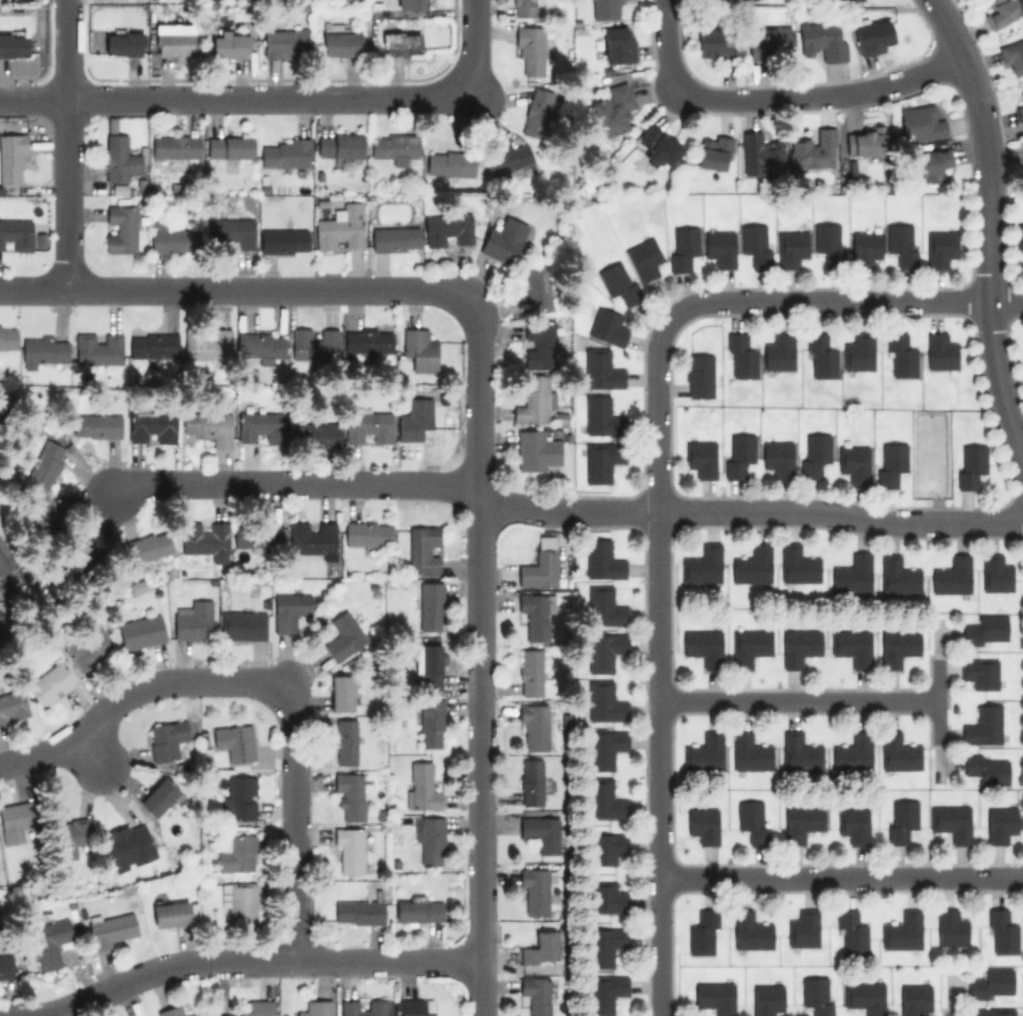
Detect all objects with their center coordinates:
building: (119, 0)
building: (414, 4)
building: (522, 8)
building: (605, 8)
building: (1000, 12)
building: (873, 36)
building: (822, 39)
building: (174, 40)
building: (400, 41)
building: (285, 42)
building: (122, 43)
building: (230, 43)
building: (341, 43)
building: (713, 43)
building: (618, 44)
road: (669, 44)
building: (771, 44)
building: (14, 45)
road: (474, 45)
building: (530, 48)
road: (65, 50)
building: (1012, 56)
road: (823, 95)
building: (1022, 96)
road: (229, 99)
building: (614, 109)
building: (537, 112)
building: (1019, 112)
building: (921, 122)
building: (865, 141)
building: (339, 144)
building: (175, 146)
building: (229, 146)
building: (658, 146)
building: (394, 147)
building: (813, 149)
building: (713, 152)
building: (284, 154)
building: (760, 154)
building: (12, 158)
building: (119, 158)
building: (508, 159)
building: (1022, 162)
building: (450, 163)
building: (931, 164)
road: (65, 195)
building: (340, 228)
building: (121, 229)
building: (447, 229)
building: (232, 231)
road: (986, 231)
building: (17, 233)
building: (169, 236)
building: (503, 237)
building: (395, 238)
building: (1019, 239)
building: (283, 240)
building: (828, 243)
building: (755, 244)
building: (901, 244)
building: (682, 247)
building: (720, 247)
building: (791, 247)
building: (864, 248)
building: (939, 248)
building: (643, 257)
building: (619, 282)
building: (536, 288)
road: (231, 290)
road: (846, 299)
building: (607, 326)
building: (8, 337)
building: (367, 341)
building: (313, 343)
building: (261, 344)
building: (538, 344)
building: (151, 345)
building: (207, 345)
building: (98, 349)
building: (419, 349)
building: (43, 351)
building: (858, 351)
building: (939, 351)
building: (778, 352)
building: (900, 355)
building: (740, 356)
building: (820, 356)
building: (600, 368)
building: (699, 375)
building: (532, 400)
building: (602, 416)
building: (416, 417)
building: (146, 424)
building: (98, 425)
building: (260, 425)
building: (367, 425)
building: (217, 429)
building: (317, 434)
building: (536, 450)
building: (738, 454)
building: (813, 454)
building: (700, 458)
building: (778, 458)
building: (601, 460)
building: (853, 462)
building: (889, 462)
building: (46, 464)
building: (969, 465)
road: (295, 485)
road: (524, 502)
building: (41, 507)
road: (795, 511)
building: (50, 519)
building: (368, 533)
building: (257, 534)
building: (313, 538)
building: (206, 539)
building: (545, 541)
building: (150, 545)
building: (423, 549)
building: (91, 556)
building: (5, 558)
building: (602, 559)
building: (701, 564)
building: (797, 564)
building: (751, 565)
building: (538, 569)
building: (851, 573)
building: (995, 573)
building: (951, 575)
building: (897, 576)
building: (430, 606)
building: (604, 606)
building: (289, 610)
building: (536, 614)
building: (193, 620)
building: (2, 621)
building: (243, 625)
building: (985, 630)
building: (141, 631)
building: (345, 633)
building: (703, 646)
building: (749, 646)
building: (852, 646)
building: (897, 646)
building: (798, 647)
building: (89, 649)
building: (603, 651)
road: (480, 656)
road: (658, 663)
building: (428, 666)
building: (530, 671)
building: (980, 672)
building: (51, 683)
road: (129, 691)
building: (342, 693)
road: (936, 696)
road: (797, 700)
building: (604, 701)
building: (12, 705)
building: (431, 723)
building: (533, 725)
building: (983, 726)
building: (170, 736)
building: (235, 741)
building: (345, 741)
building: (604, 747)
road: (91, 751)
building: (799, 751)
building: (898, 751)
building: (749, 752)
building: (853, 752)
building: (703, 753)
building: (986, 768)
building: (531, 781)
building: (421, 785)
building: (351, 793)
building: (159, 796)
building: (238, 797)
building: (604, 799)
building: (752, 820)
building: (901, 820)
building: (14, 821)
road: (295, 821)
building: (801, 821)
building: (951, 822)
building: (852, 823)
building: (702, 824)
building: (999, 824)
building: (540, 832)
building: (73, 834)
building: (432, 840)
building: (128, 846)
building: (606, 847)
building: (349, 850)
building: (236, 851)
road: (840, 877)
building: (534, 891)
building: (606, 897)
building: (239, 900)
building: (418, 911)
building: (358, 912)
building: (171, 913)
building: (803, 928)
building: (950, 928)
building: (112, 929)
building: (902, 930)
building: (750, 931)
building: (702, 932)
building: (851, 932)
building: (1001, 932)
building: (50, 942)
building: (605, 945)
building: (539, 948)
road: (245, 959)
building: (5, 966)
building: (991, 984)
building: (605, 992)
building: (538, 994)
building: (816, 995)
building: (714, 996)
building: (864, 996)
building: (766, 999)
building: (913, 999)
building: (377, 1003)
building: (415, 1007)
building: (258, 1008)
building: (316, 1008)
building: (172, 1011)
building: (994, 1012)

